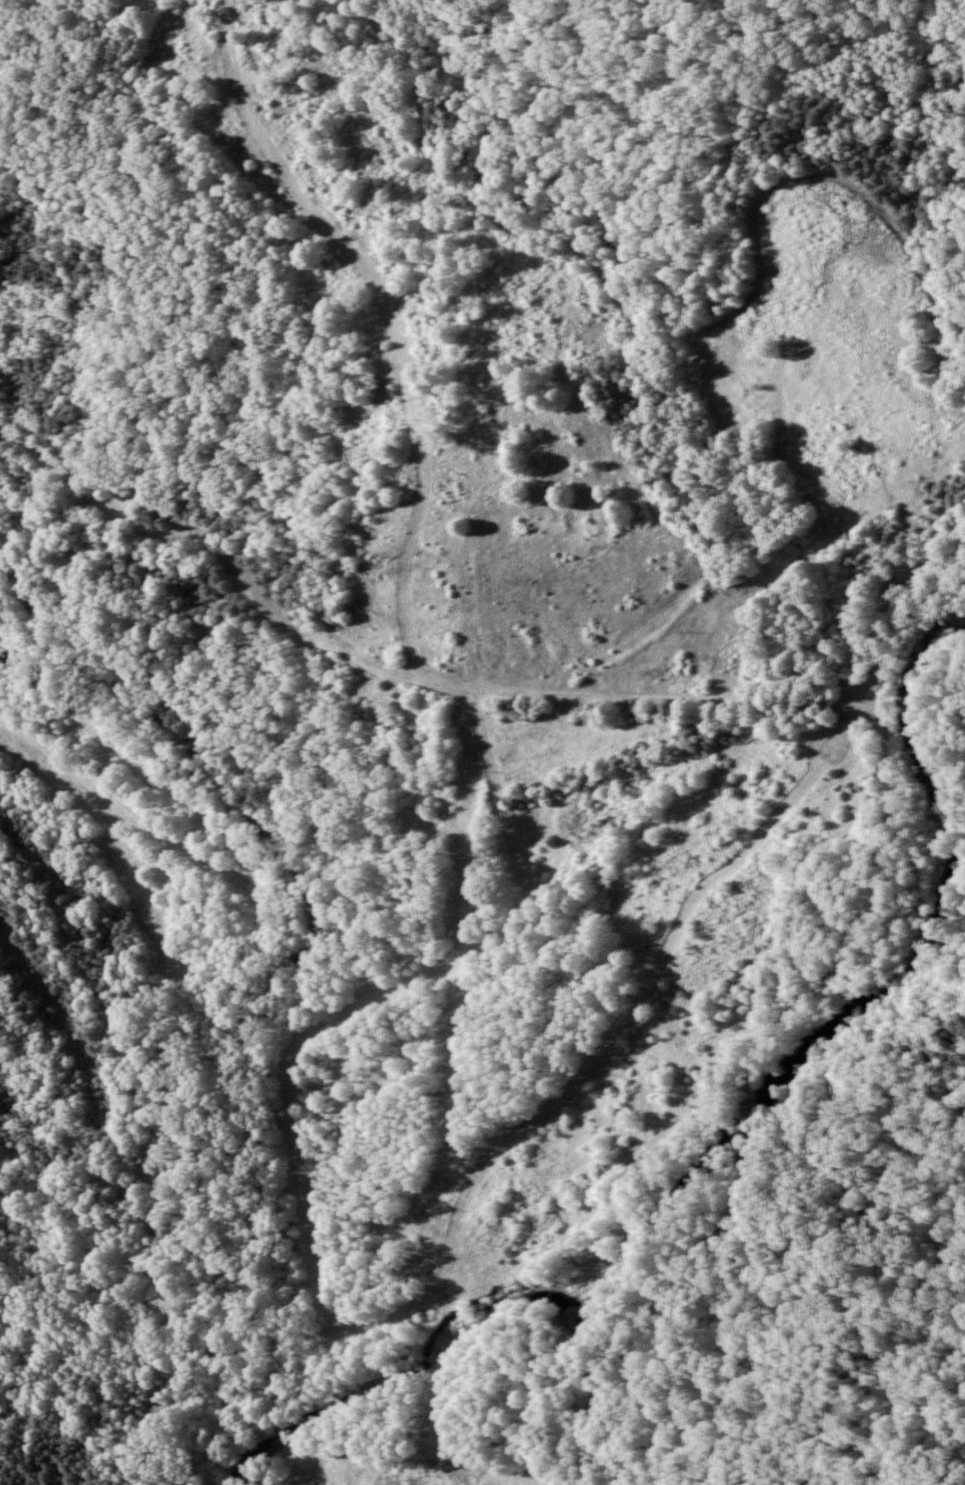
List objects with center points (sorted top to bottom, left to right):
road: (818, 1002)

